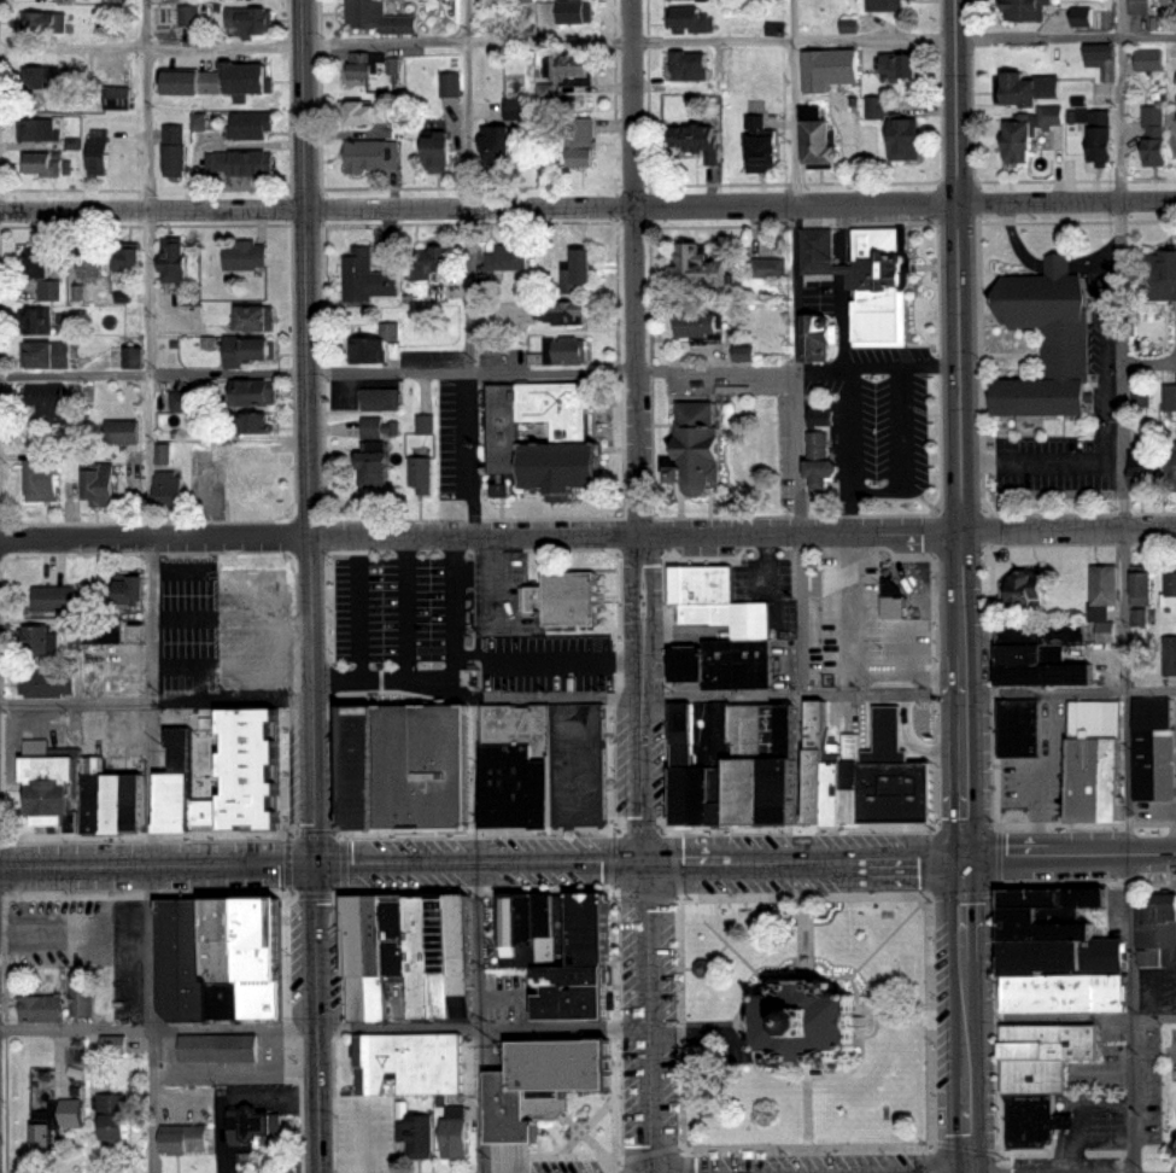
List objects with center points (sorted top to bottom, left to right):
building: (521, 0)
building: (684, 0)
building: (891, 2)
building: (1134, 6)
building: (1025, 10)
building: (563, 12)
building: (185, 16)
building: (379, 16)
building: (252, 17)
building: (1077, 17)
building: (43, 19)
building: (689, 21)
road: (587, 42)
building: (1100, 54)
building: (1149, 59)
building: (370, 63)
building: (901, 64)
building: (567, 66)
building: (689, 66)
building: (829, 68)
building: (45, 77)
building: (193, 81)
building: (245, 81)
building: (446, 86)
building: (1025, 86)
building: (546, 93)
building: (112, 99)
building: (364, 109)
building: (879, 109)
building: (253, 124)
building: (35, 129)
building: (503, 133)
building: (1025, 133)
building: (1099, 133)
building: (1154, 134)
building: (697, 138)
building: (906, 138)
building: (581, 142)
building: (761, 142)
building: (814, 146)
building: (172, 148)
building: (438, 151)
building: (373, 154)
building: (96, 157)
building: (41, 162)
building: (244, 163)
road: (792, 183)
road: (1066, 202)
road: (479, 205)
building: (818, 251)
building: (244, 255)
building: (510, 255)
building: (124, 258)
building: (174, 259)
building: (435, 259)
building: (35, 261)
building: (88, 261)
building: (698, 265)
building: (763, 265)
road: (148, 267)
road: (470, 267)
building: (580, 269)
building: (1162, 275)
building: (367, 276)
building: (878, 279)
building: (437, 291)
building: (561, 310)
building: (250, 314)
building: (35, 320)
building: (701, 326)
parking lot: (1104, 332)
building: (819, 334)
building: (1040, 338)
building: (374, 343)
building: (248, 348)
building: (504, 348)
building: (568, 349)
building: (737, 352)
building: (45, 355)
building: (128, 357)
road: (1147, 363)
road: (480, 372)
building: (246, 391)
building: (376, 398)
building: (1170, 398)
building: (183, 399)
building: (48, 401)
building: (252, 409)
building: (814, 418)
parking lot: (885, 418)
building: (382, 426)
building: (505, 427)
road: (849, 427)
road: (961, 427)
road: (639, 428)
road: (309, 430)
building: (122, 431)
building: (558, 437)
building: (695, 443)
road: (899, 449)
road: (795, 450)
building: (160, 453)
building: (821, 460)
building: (259, 463)
building: (1169, 463)
building: (1135, 467)
building: (376, 468)
building: (421, 474)
building: (43, 478)
building: (169, 483)
building: (101, 485)
road: (1119, 508)
road: (849, 509)
road: (1069, 530)
road: (481, 536)
building: (701, 574)
building: (1102, 576)
road: (498, 580)
building: (1023, 580)
parking lot: (496, 584)
building: (121, 588)
building: (1137, 589)
building: (563, 591)
building: (1169, 594)
building: (130, 595)
building: (53, 597)
building: (887, 599)
road: (405, 603)
building: (730, 609)
parking lot: (396, 611)
road: (797, 612)
road: (152, 614)
road: (359, 615)
parking lot: (227, 618)
parking lot: (859, 630)
building: (1100, 631)
building: (34, 638)
building: (112, 641)
building: (725, 654)
road: (546, 656)
building: (1168, 659)
parking lot: (545, 663)
building: (1035, 664)
road: (449, 669)
building: (45, 679)
road: (801, 690)
road: (1069, 691)
road: (157, 695)
building: (1016, 731)
building: (1146, 741)
building: (745, 752)
building: (1088, 753)
building: (408, 754)
building: (577, 755)
building: (515, 757)
building: (94, 765)
building: (226, 768)
building: (694, 768)
building: (894, 769)
building: (836, 774)
building: (777, 777)
road: (151, 778)
building: (51, 784)
building: (123, 793)
road: (1071, 854)
traffic signals: (966, 857)
road: (482, 858)
traffic signals: (643, 858)
traffic signals: (320, 860)
road: (340, 870)
building: (1052, 883)
road: (926, 893)
building: (517, 910)
building: (586, 914)
building: (1159, 915)
building: (1041, 916)
road: (612, 920)
building: (65, 927)
road: (802, 929)
road: (887, 933)
parking lot: (75, 935)
road: (136, 944)
building: (248, 946)
road: (808, 946)
building: (1038, 947)
building: (186, 951)
building: (455, 952)
building: (1148, 957)
building: (435, 959)
building: (356, 961)
building: (375, 961)
building: (417, 961)
road: (704, 961)
building: (396, 962)
building: (701, 965)
building: (572, 980)
building: (1061, 985)
building: (81, 990)
building: (41, 1003)
road: (643, 1015)
road: (966, 1015)
road: (318, 1016)
road: (478, 1016)
road: (1071, 1016)
road: (749, 1017)
road: (896, 1019)
road: (480, 1020)
road: (707, 1022)
road: (158, 1023)
building: (800, 1027)
road: (684, 1029)
building: (1049, 1039)
building: (111, 1043)
building: (215, 1045)
building: (586, 1051)
building: (537, 1052)
building: (413, 1064)
building: (1032, 1069)
road: (794, 1074)
road: (1133, 1095)
road: (156, 1098)
building: (507, 1102)
building: (113, 1108)
road: (803, 1109)
building: (72, 1113)
building: (1175, 1113)
building: (1032, 1115)
building: (250, 1120)
road: (335, 1121)
road: (585, 1122)
building: (420, 1128)
road: (583, 1130)
building: (187, 1131)
building: (454, 1133)
parking lot: (365, 1138)

